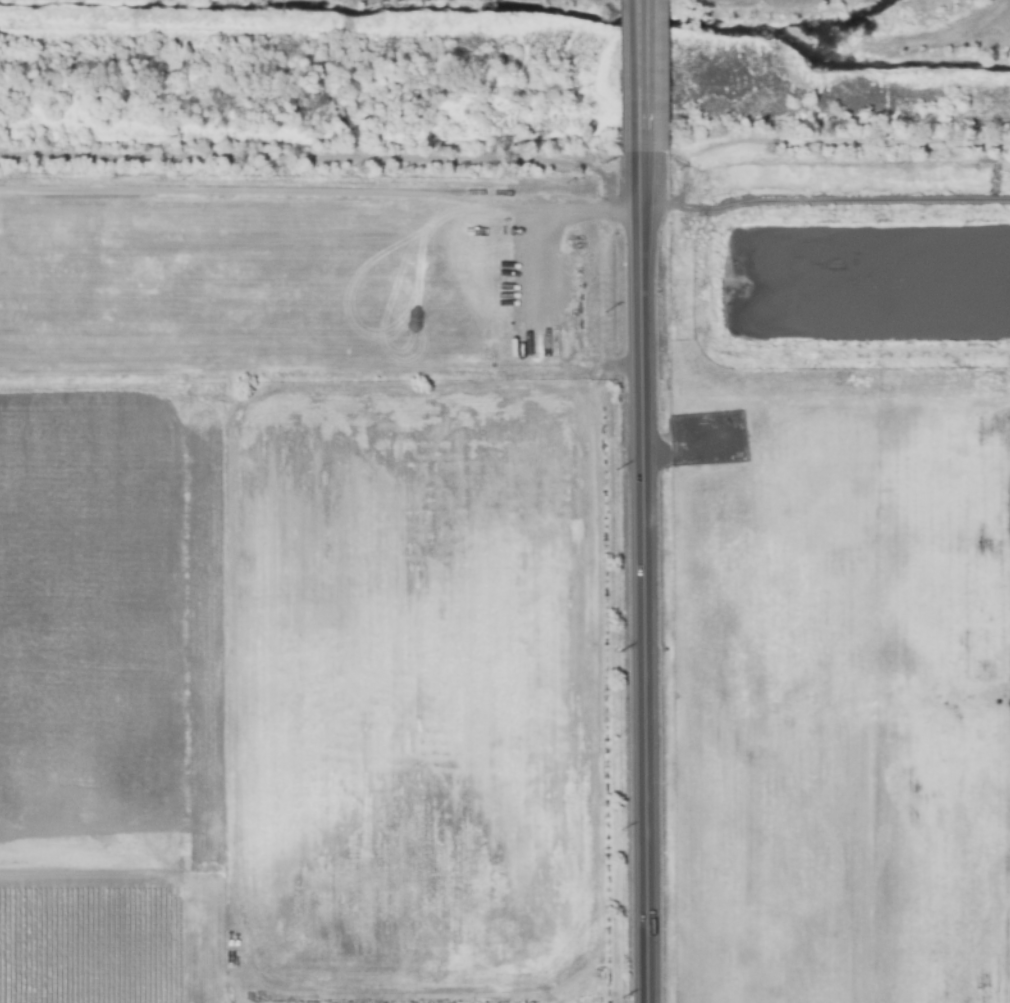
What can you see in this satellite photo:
road: (646, 85)
road: (550, 200)
road: (828, 205)
road: (339, 225)
road: (134, 227)
road: (289, 228)
road: (179, 263)
crop: (170, 279)
building: (394, 279)
road: (357, 280)
road: (342, 314)
building: (519, 346)
road: (608, 370)
road: (367, 458)
road: (648, 586)
road: (243, 646)
road: (235, 665)
road: (287, 667)
road: (284, 683)
road: (237, 684)
road: (237, 699)
road: (242, 710)
road: (241, 718)
road: (237, 722)
road: (585, 724)
road: (552, 730)
road: (194, 834)
road: (245, 998)
road: (535, 998)

